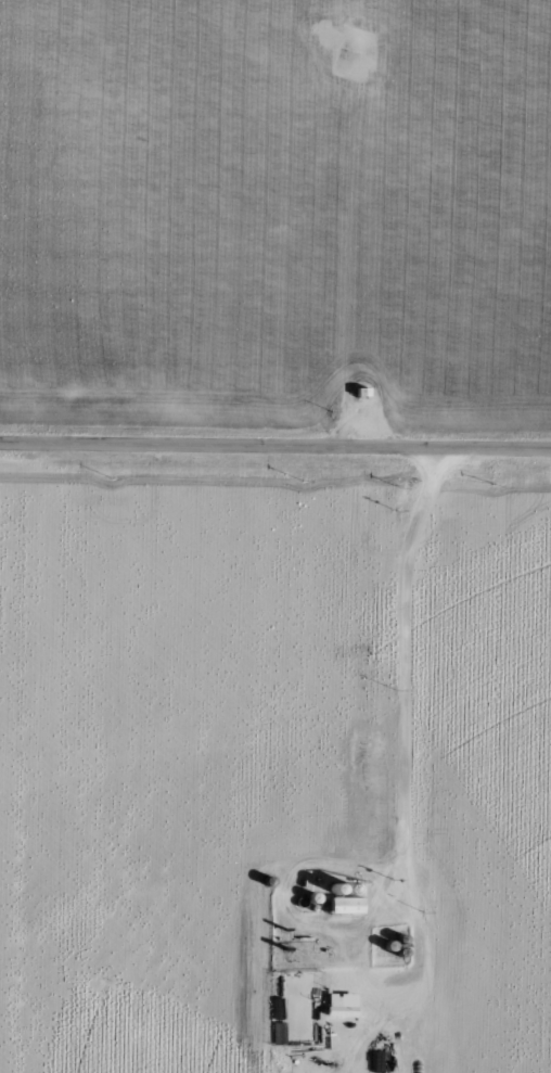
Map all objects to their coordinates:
road: (275, 454)
road: (403, 831)

